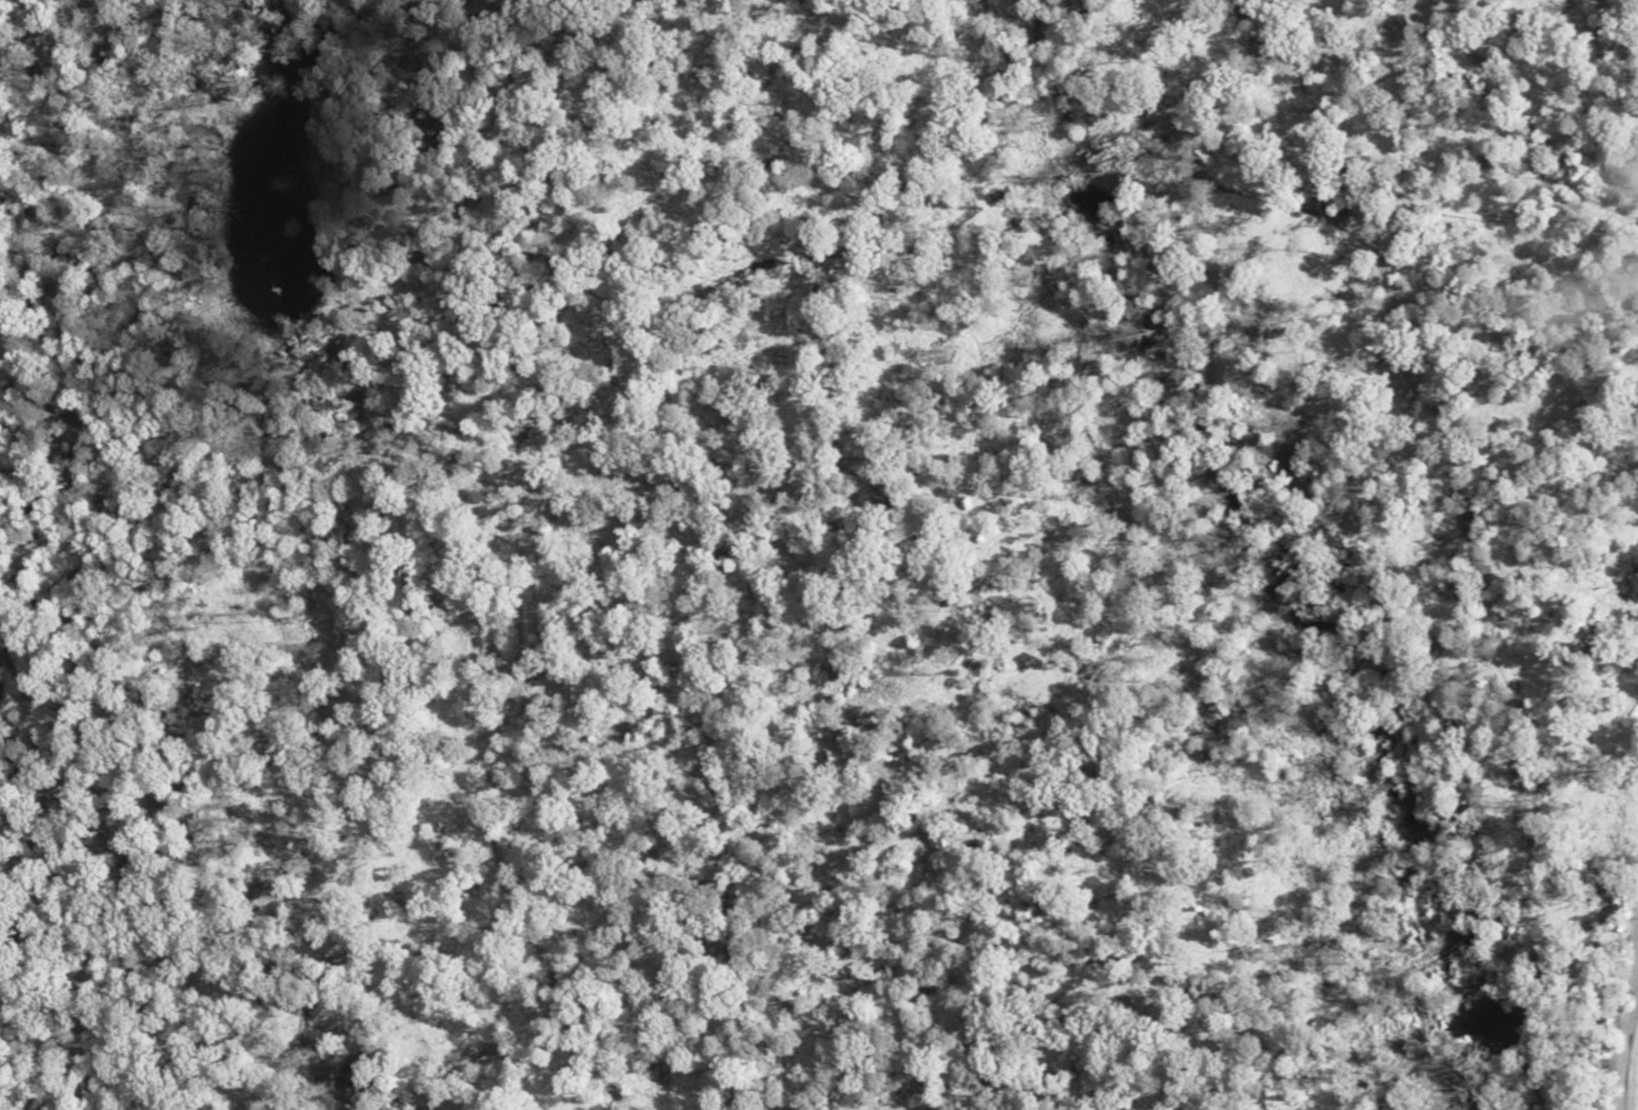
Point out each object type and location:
road: (1626, 1008)
crop: (1632, 1065)

